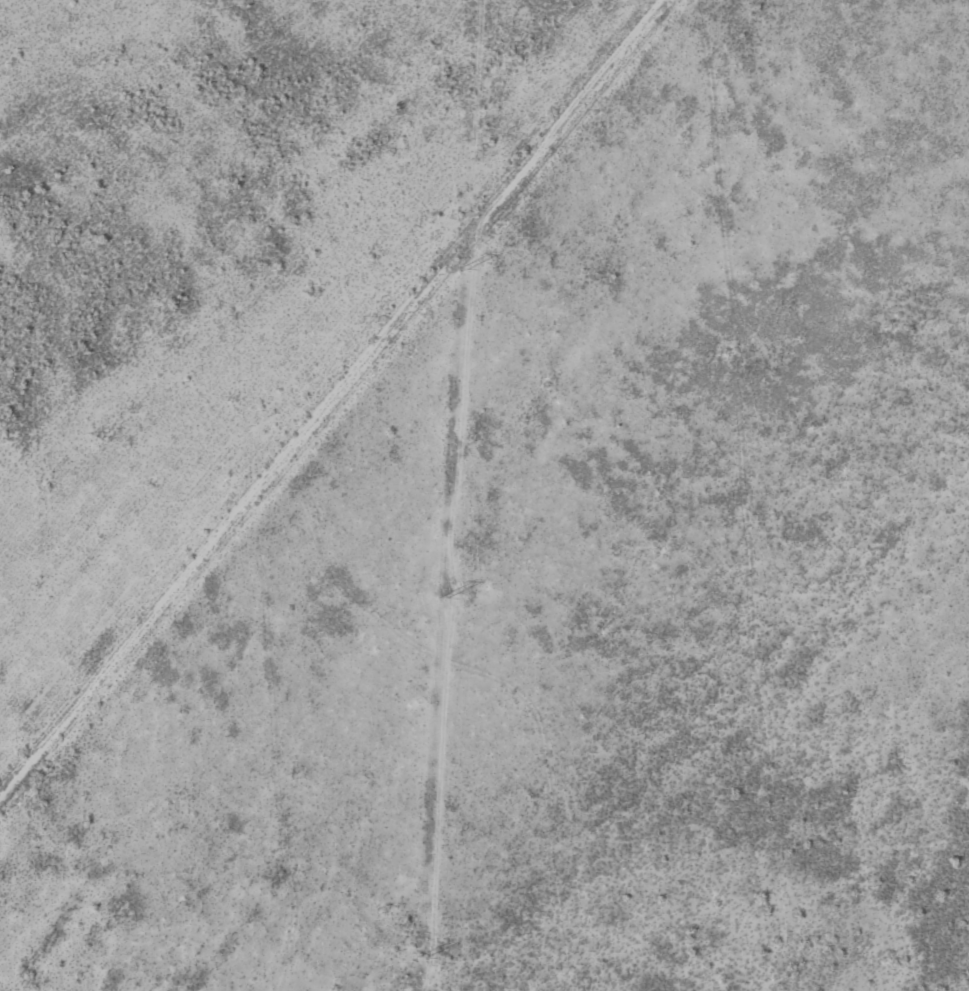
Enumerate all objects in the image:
power tower: (462, 271)
road: (335, 399)
power tower: (444, 600)
power tower: (421, 959)

